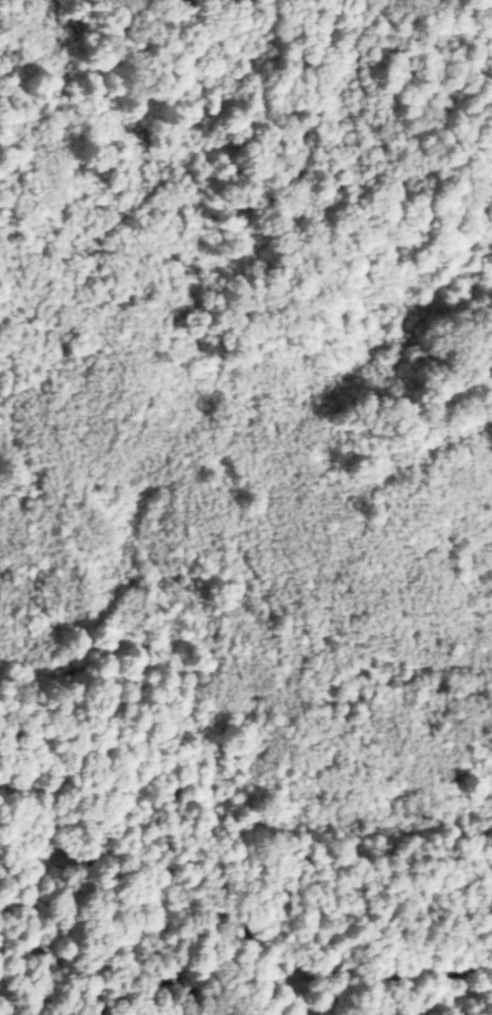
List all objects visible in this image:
road: (240, 923)

